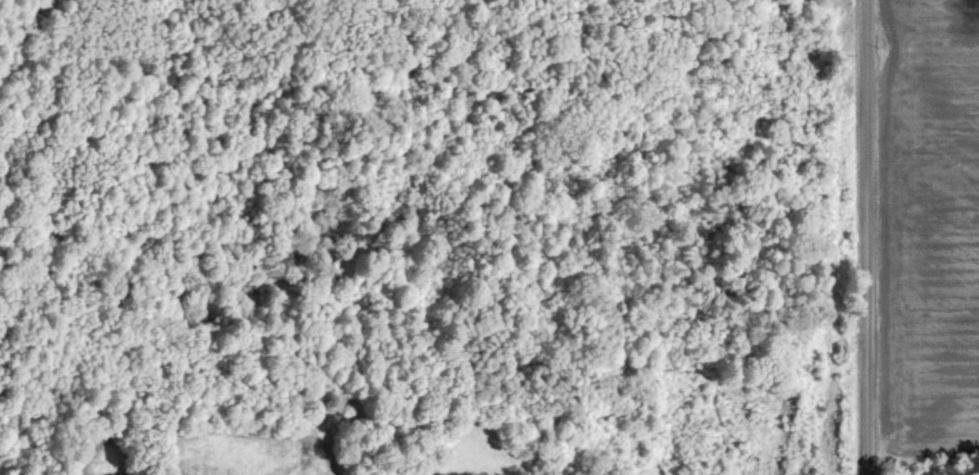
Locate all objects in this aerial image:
crop: (929, 227)
road: (867, 237)

